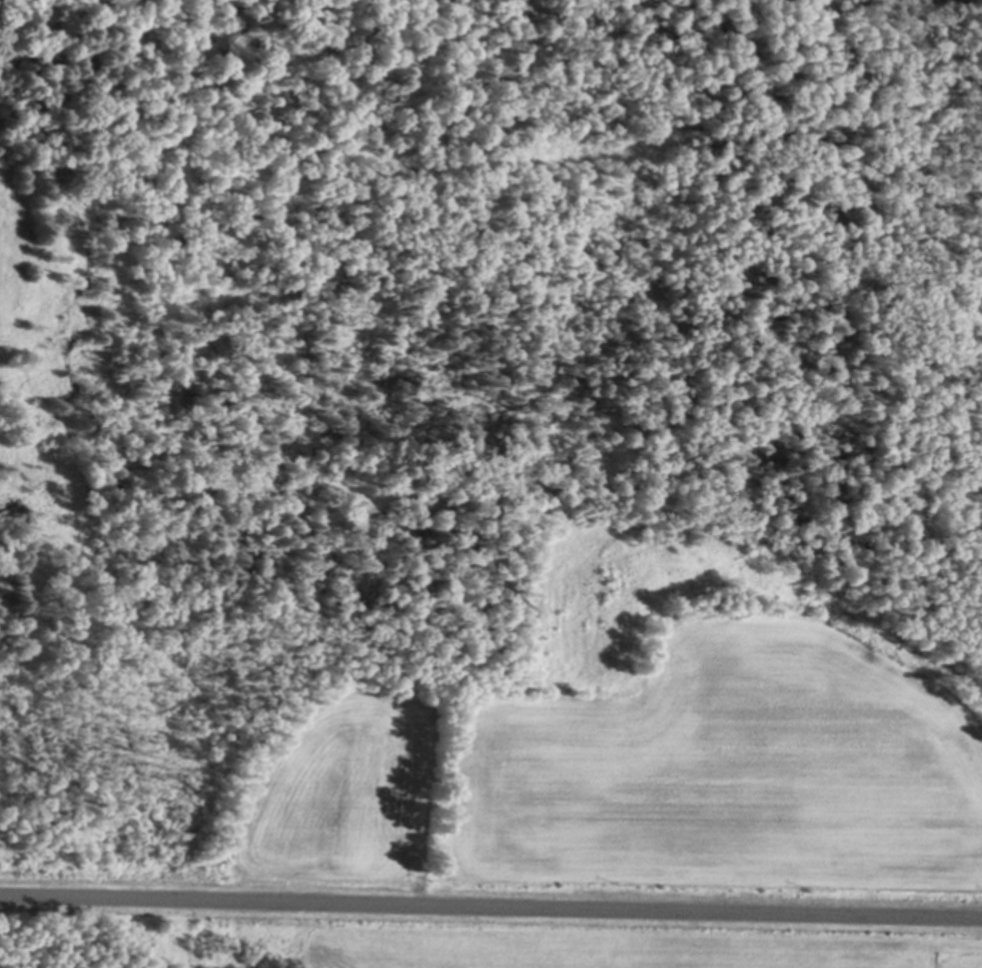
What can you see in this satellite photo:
road: (491, 898)

